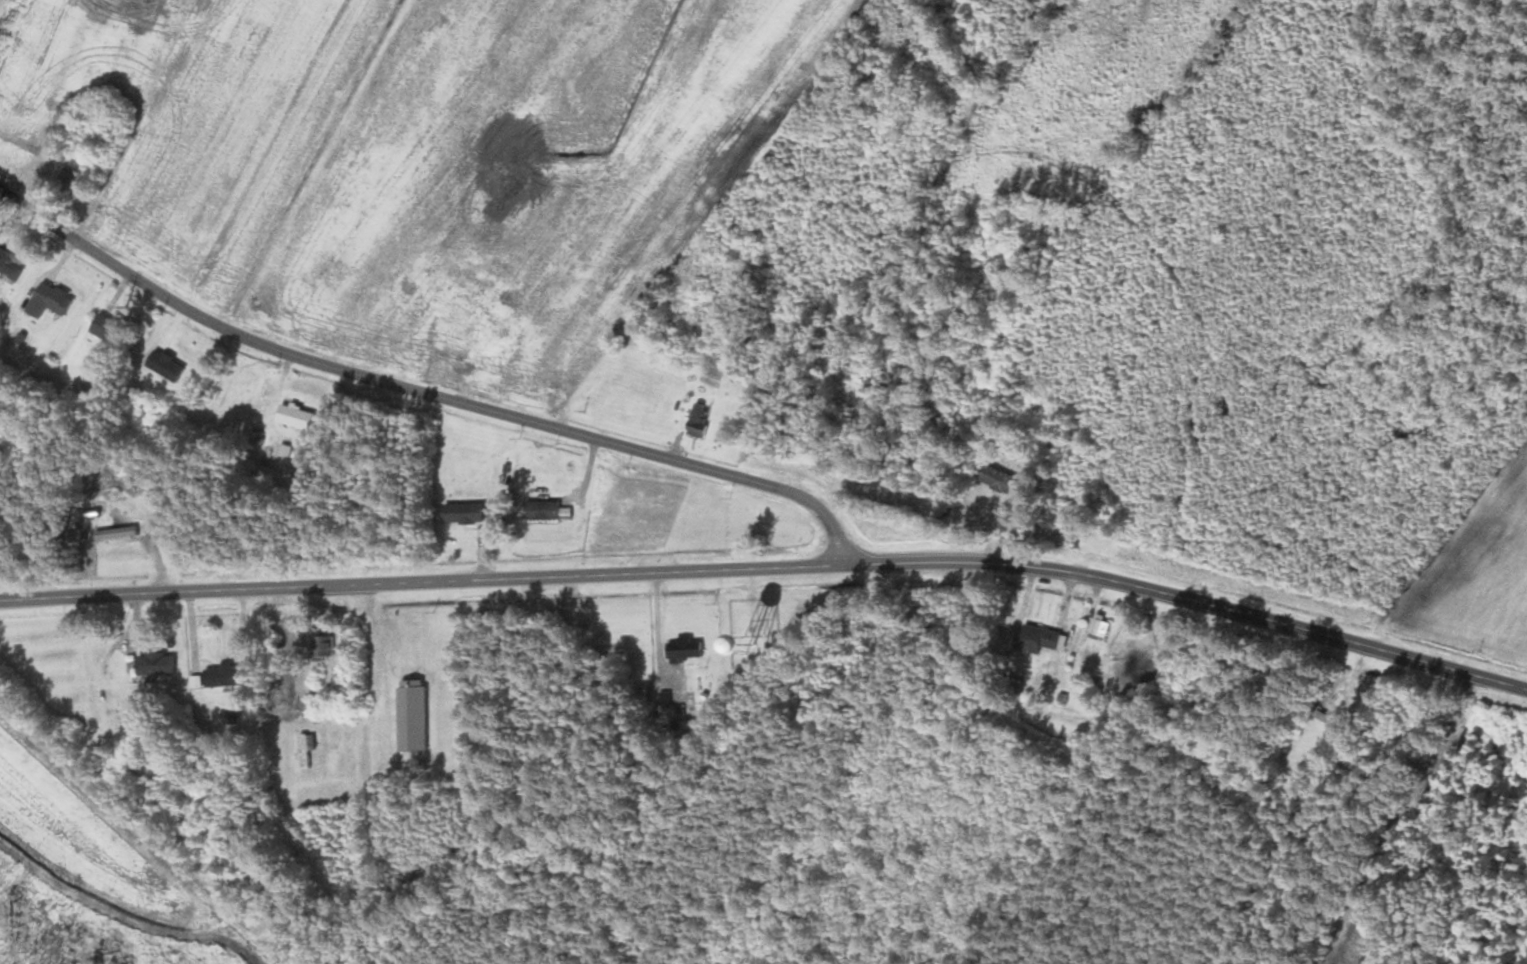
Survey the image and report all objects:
building: (8, 270)
building: (45, 301)
building: (105, 329)
building: (163, 366)
road: (428, 392)
building: (292, 419)
building: (696, 419)
building: (994, 481)
building: (540, 510)
building: (461, 514)
building: (114, 534)
road: (427, 581)
road: (1196, 591)
building: (1098, 626)
building: (1039, 641)
building: (321, 648)
building: (683, 648)
building: (154, 664)
building: (221, 676)
building: (67, 678)
building: (410, 714)
building: (304, 750)

